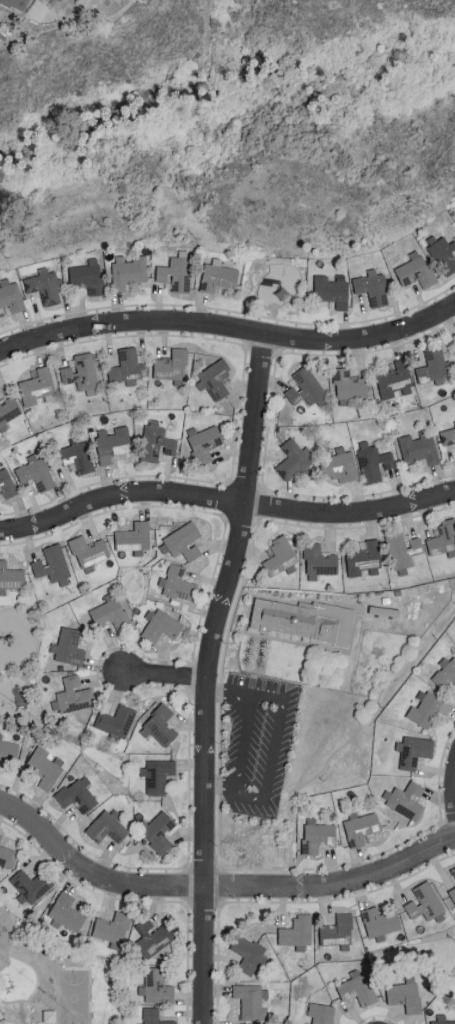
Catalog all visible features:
building: (52, 0)
building: (16, 4)
building: (442, 252)
building: (128, 270)
building: (416, 270)
building: (177, 271)
building: (88, 275)
building: (218, 276)
building: (45, 286)
building: (372, 287)
building: (332, 289)
building: (11, 295)
road: (259, 304)
road: (229, 331)
building: (126, 366)
building: (173, 366)
building: (433, 366)
building: (82, 373)
building: (215, 378)
building: (396, 380)
building: (350, 384)
building: (38, 386)
building: (306, 387)
building: (9, 409)
building: (454, 421)
building: (448, 436)
building: (156, 441)
building: (203, 442)
building: (112, 443)
building: (419, 447)
building: (77, 454)
building: (294, 459)
building: (373, 461)
building: (340, 465)
building: (35, 472)
building: (6, 483)
road: (225, 504)
building: (134, 537)
building: (443, 537)
building: (184, 540)
building: (402, 549)
building: (88, 550)
building: (280, 556)
building: (319, 560)
building: (364, 560)
building: (52, 564)
building: (11, 576)
building: (178, 583)
building: (384, 610)
building: (110, 611)
building: (303, 619)
building: (160, 625)
building: (69, 646)
road: (255, 665)
park: (22, 666)
building: (445, 673)
road: (208, 677)
road: (166, 678)
building: (73, 695)
road: (229, 697)
building: (427, 707)
building: (116, 720)
building: (160, 725)
road: (353, 734)
road: (29, 742)
parking lot: (257, 746)
building: (8, 749)
building: (413, 750)
building: (45, 767)
building: (157, 774)
road: (222, 785)
building: (78, 794)
road: (264, 798)
building: (406, 799)
building: (108, 826)
building: (360, 827)
building: (159, 831)
building: (0, 835)
building: (317, 835)
building: (7, 856)
building: (453, 871)
building: (29, 886)
road: (218, 887)
building: (452, 893)
building: (424, 901)
building: (69, 913)
building: (380, 922)
building: (114, 929)
building: (337, 930)
building: (297, 932)
building: (153, 937)
road: (14, 946)
building: (248, 953)
park: (59, 977)
building: (156, 986)
building: (358, 987)
building: (405, 994)
park: (74, 997)
building: (250, 1001)
building: (321, 1013)
building: (153, 1016)
building: (441, 1020)
building: (247, 1023)
building: (306, 1023)

